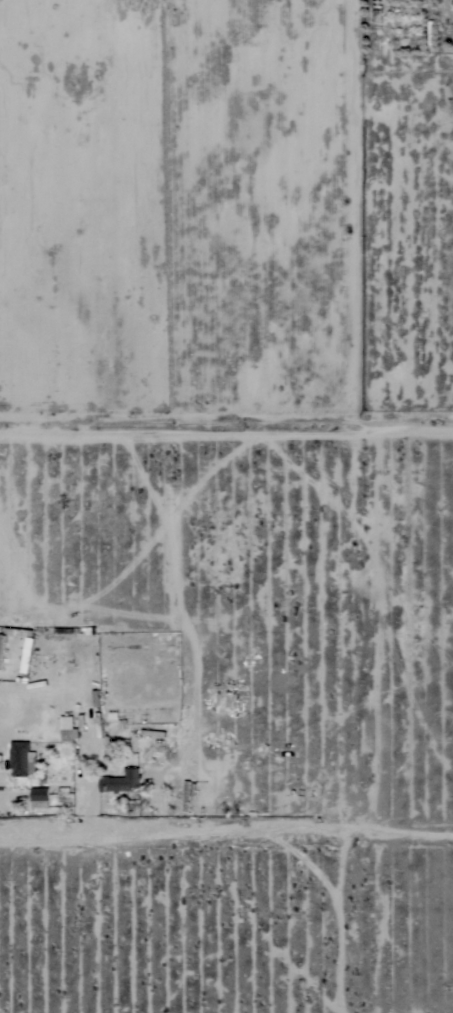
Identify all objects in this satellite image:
building: (24, 652)
building: (66, 734)
building: (20, 759)
building: (120, 780)
building: (39, 798)
road: (226, 837)

